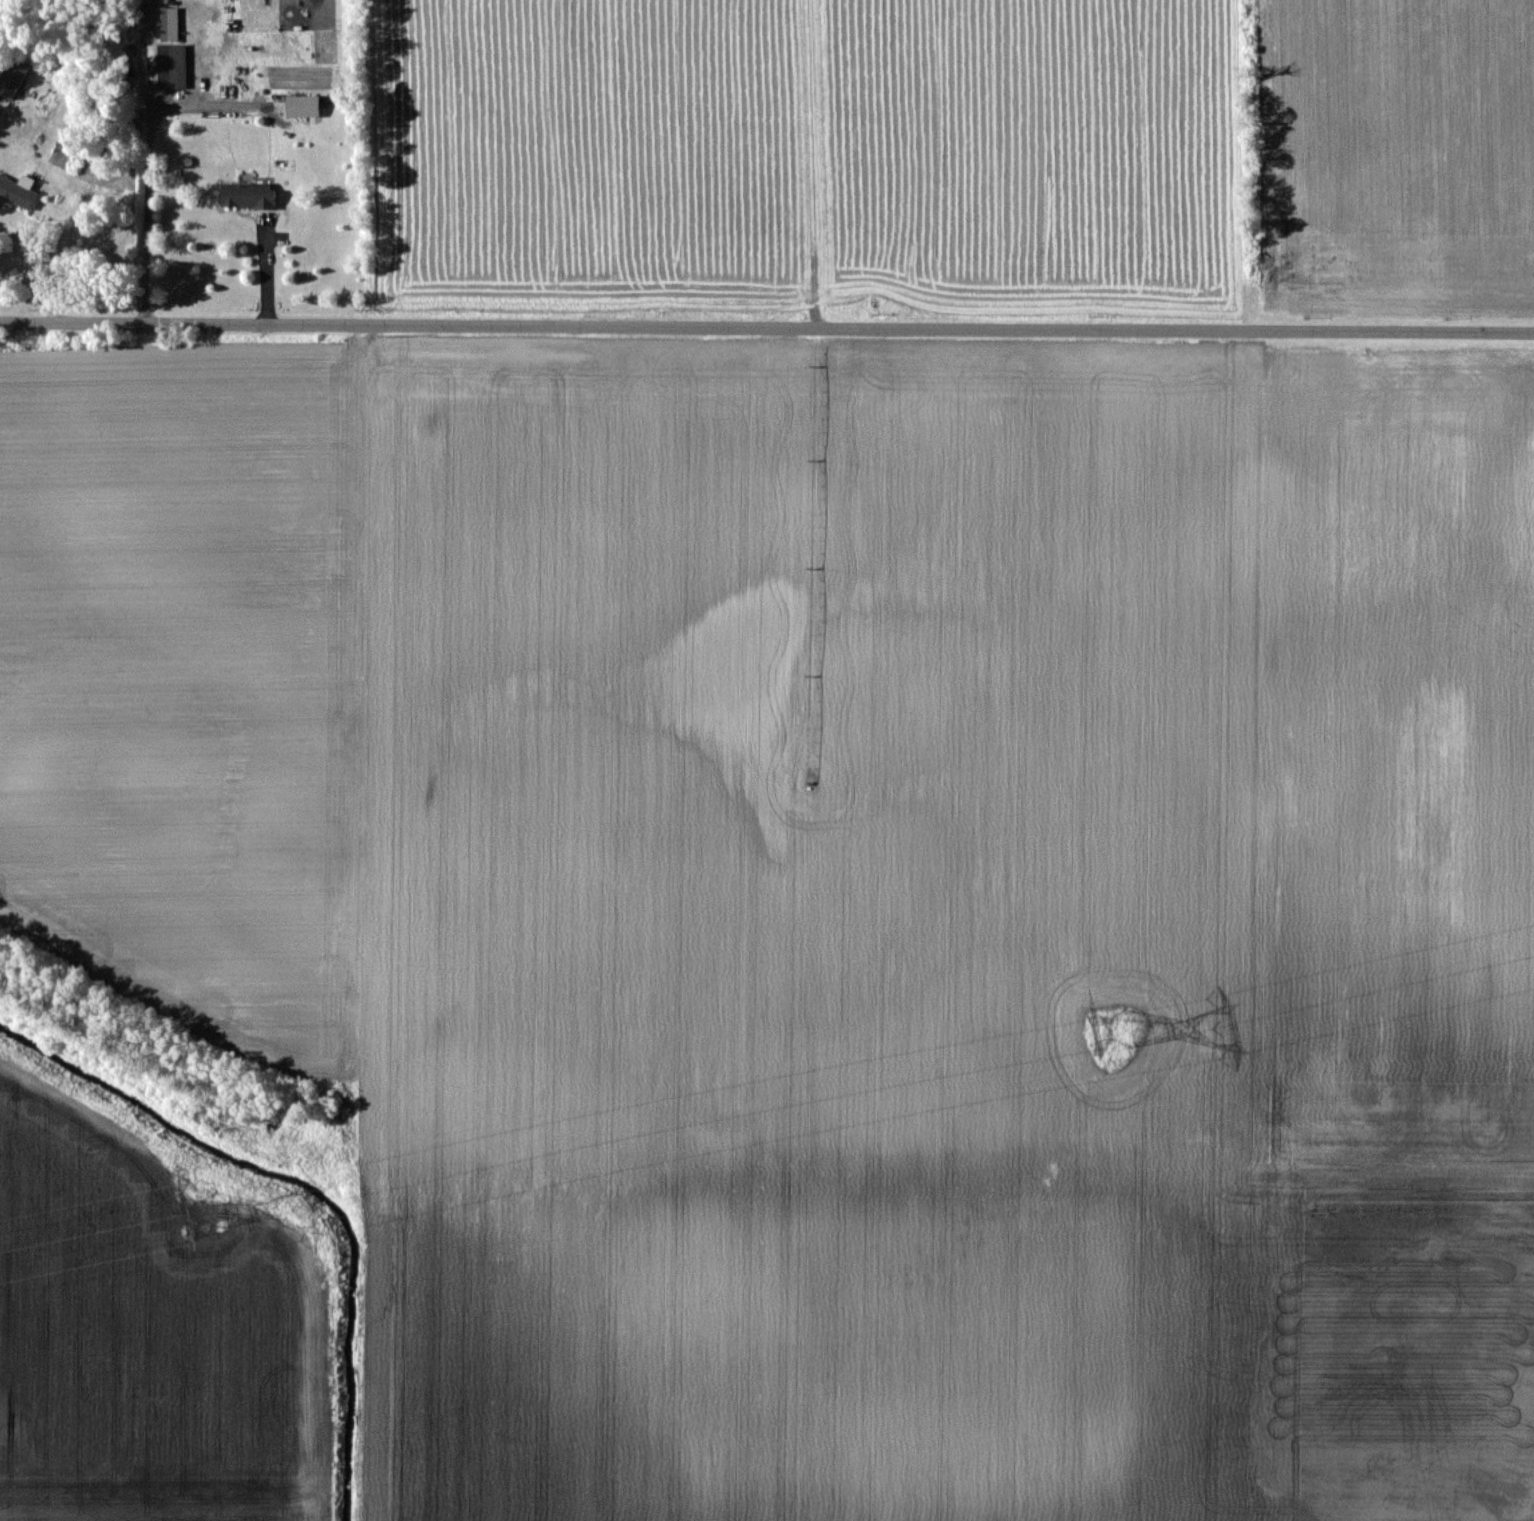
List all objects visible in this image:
building: (167, 65)
building: (12, 75)
building: (17, 192)
building: (248, 195)
road: (139, 203)
road: (30, 275)
road: (767, 324)
power tower: (1109, 1021)
power tower: (185, 1207)

